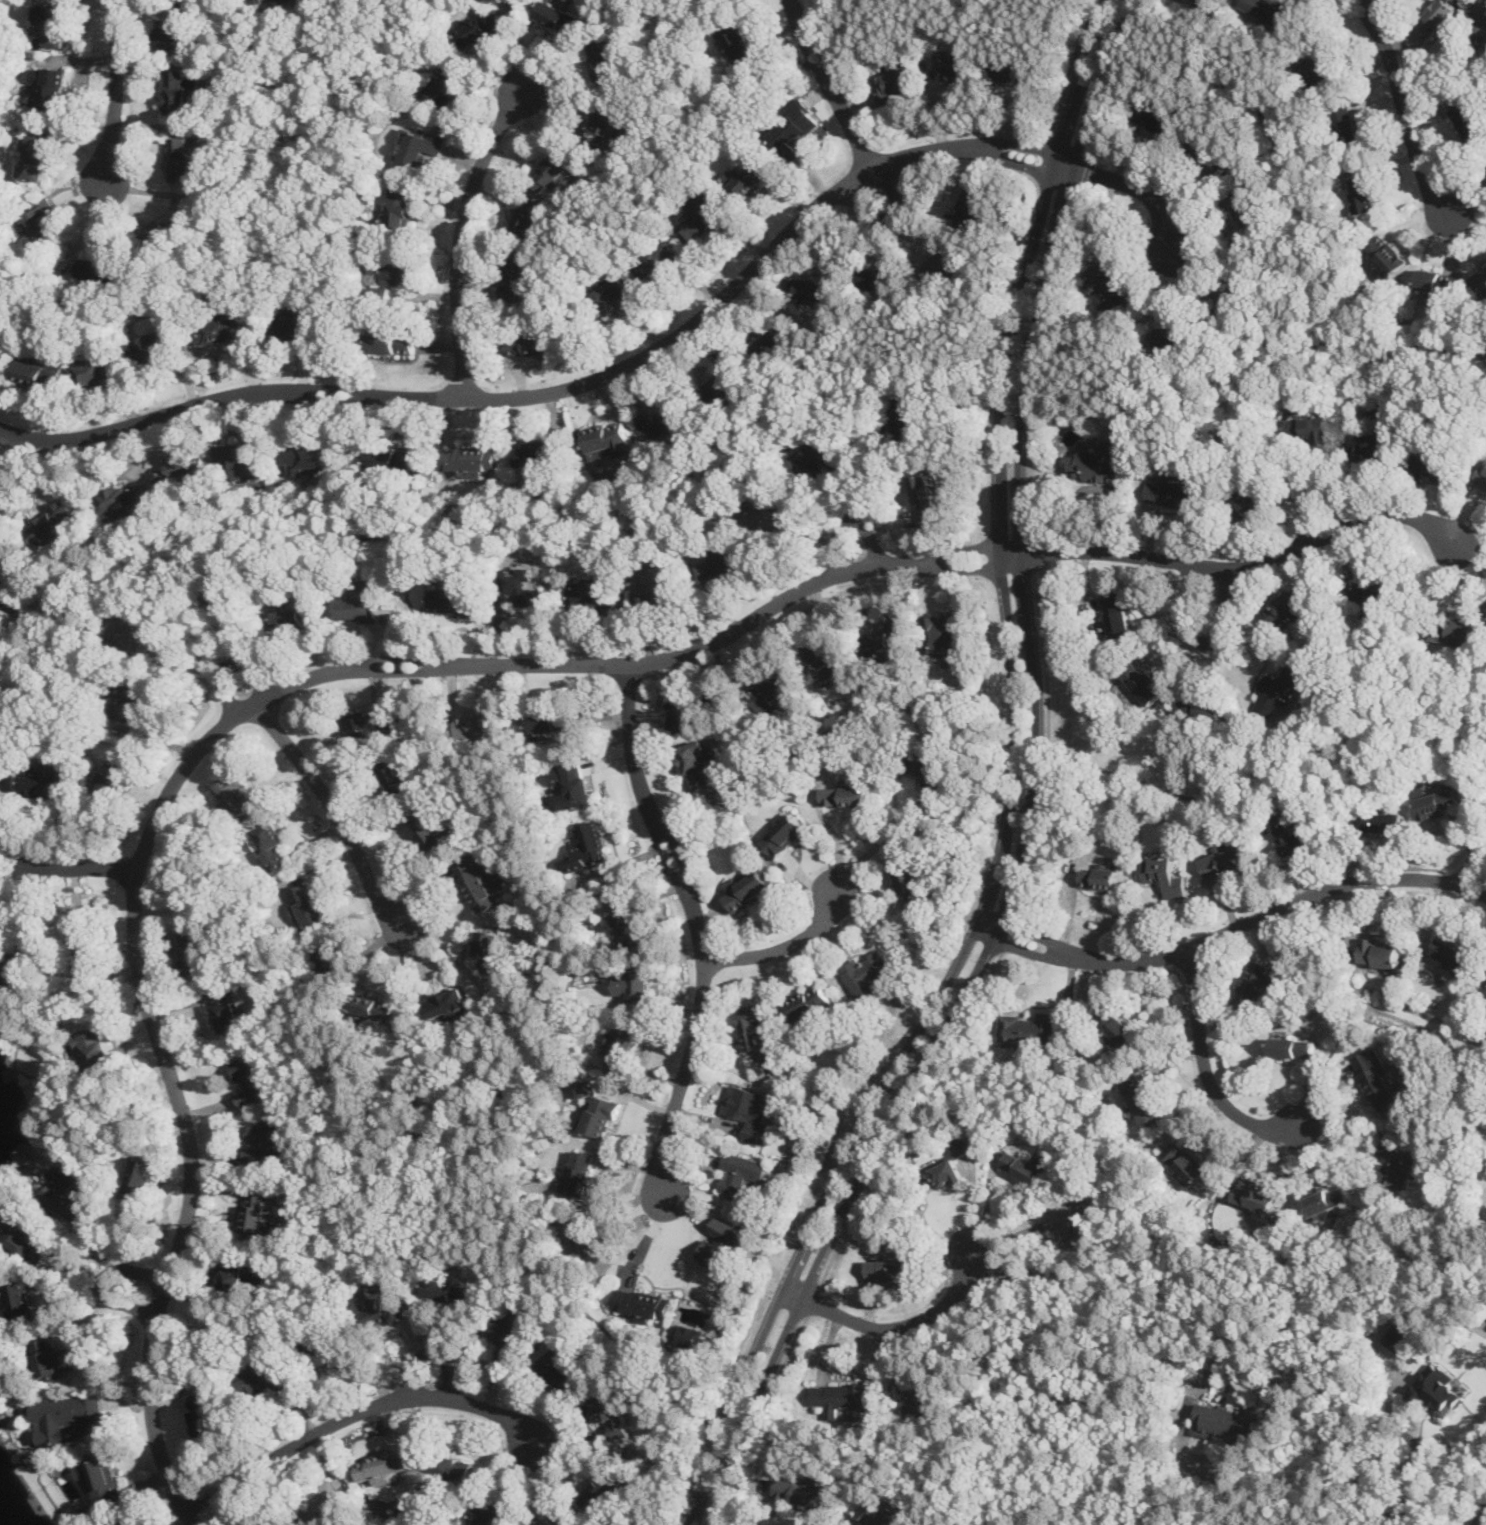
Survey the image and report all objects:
building: (278, 0)
building: (830, 1)
building: (1210, 2)
road: (959, 4)
building: (1267, 9)
building: (557, 15)
building: (1436, 18)
building: (1479, 22)
building: (51, 23)
building: (479, 25)
road: (371, 28)
building: (174, 33)
building: (738, 41)
road: (303, 49)
road: (1289, 49)
building: (605, 58)
building: (1317, 66)
building: (952, 73)
building: (1011, 73)
road: (1116, 78)
road: (338, 80)
building: (51, 84)
building: (446, 84)
road: (832, 85)
road: (757, 86)
building: (894, 86)
building: (179, 89)
road: (116, 92)
road: (1402, 106)
road: (709, 108)
building: (1153, 116)
building: (1466, 119)
building: (616, 123)
building: (1345, 123)
building: (792, 126)
road: (1280, 144)
building: (417, 145)
building: (34, 155)
building: (180, 159)
building: (1212, 160)
building: (555, 170)
road: (1086, 170)
building: (747, 176)
road: (642, 191)
building: (1362, 193)
building: (1245, 206)
building: (402, 207)
building: (971, 207)
building: (698, 215)
building: (525, 216)
building: (43, 219)
building: (169, 229)
road: (462, 234)
building: (1387, 254)
building: (657, 259)
building: (942, 263)
building: (101, 268)
building: (392, 268)
road: (206, 270)
building: (880, 277)
building: (519, 278)
building: (1481, 279)
building: (1434, 281)
road: (17, 283)
building: (1109, 286)
building: (819, 288)
building: (1226, 291)
building: (615, 294)
building: (292, 322)
building: (221, 328)
building: (776, 336)
building: (1172, 338)
building: (392, 342)
building: (531, 343)
building: (156, 351)
road: (641, 357)
road: (1041, 359)
road: (1246, 362)
building: (101, 369)
building: (37, 372)
building: (726, 374)
building: (905, 414)
building: (663, 420)
building: (1309, 428)
building: (607, 439)
building: (1371, 444)
building: (1120, 445)
building: (534, 453)
building: (816, 457)
building: (308, 458)
building: (467, 458)
building: (244, 459)
building: (392, 459)
building: (1433, 463)
building: (1093, 466)
building: (180, 468)
road: (11, 472)
road: (876, 476)
building: (1481, 477)
road: (1097, 487)
road: (1312, 491)
building: (1172, 492)
building: (925, 494)
building: (124, 499)
building: (1250, 503)
building: (769, 515)
building: (56, 523)
road: (848, 523)
road: (1035, 553)
building: (721, 564)
road: (1243, 566)
building: (658, 584)
building: (521, 587)
building: (10, 588)
building: (1372, 594)
building: (223, 597)
building: (593, 597)
building: (453, 600)
building: (361, 606)
building: (1285, 608)
building: (1117, 615)
building: (299, 616)
building: (139, 628)
building: (1453, 631)
building: (944, 633)
building: (888, 638)
road: (1203, 644)
building: (828, 663)
building: (1143, 683)
building: (774, 692)
building: (1271, 693)
building: (132, 701)
road: (416, 705)
building: (1194, 706)
building: (685, 714)
building: (553, 721)
building: (368, 722)
building: (480, 724)
road: (831, 730)
road: (215, 735)
road: (1049, 741)
building: (0, 761)
building: (699, 762)
building: (929, 768)
road: (1221, 771)
building: (395, 774)
building: (116, 775)
building: (49, 783)
building: (574, 783)
road: (1022, 791)
building: (847, 792)
building: (235, 795)
road: (324, 795)
building: (1438, 801)
building: (1384, 820)
building: (430, 831)
building: (785, 833)
building: (1292, 837)
road: (879, 841)
building: (270, 843)
building: (588, 847)
building: (1224, 859)
road: (1470, 861)
road: (68, 868)
building: (1164, 874)
building: (1101, 875)
building: (480, 882)
building: (746, 886)
building: (909, 886)
building: (307, 903)
road: (1237, 926)
building: (626, 927)
road: (697, 927)
road: (1008, 932)
building: (85, 945)
road: (783, 945)
building: (194, 950)
building: (490, 952)
building: (1381, 952)
building: (1453, 956)
building: (328, 961)
building: (18, 971)
building: (866, 975)
building: (1256, 982)
building: (633, 985)
building: (1485, 991)
building: (808, 1000)
building: (447, 1005)
building: (227, 1007)
building: (373, 1007)
road: (289, 1016)
building: (752, 1024)
building: (1027, 1029)
building: (1116, 1029)
road: (1455, 1044)
building: (1292, 1046)
building: (95, 1047)
building: (623, 1050)
road: (1204, 1068)
road: (486, 1070)
building: (251, 1077)
building: (1376, 1078)
road: (392, 1079)
building: (586, 1087)
building: (1138, 1096)
building: (751, 1109)
building: (601, 1114)
road: (908, 1119)
building: (266, 1141)
building: (1185, 1162)
building: (1396, 1163)
building: (949, 1164)
building: (1025, 1165)
building: (580, 1172)
building: (740, 1174)
building: (142, 1178)
building: (74, 1192)
building: (1255, 1196)
building: (1327, 1198)
road: (970, 1202)
building: (258, 1210)
building: (1067, 1224)
building: (24, 1233)
building: (587, 1234)
road: (505, 1240)
road: (646, 1240)
building: (725, 1242)
building: (893, 1269)
road: (1106, 1270)
building: (243, 1274)
road: (141, 1288)
building: (451, 1290)
building: (22, 1299)
building: (380, 1301)
road: (812, 1301)
building: (643, 1302)
road: (788, 1305)
road: (900, 1325)
building: (688, 1334)
building: (507, 1335)
building: (1402, 1337)
building: (321, 1342)
road: (432, 1349)
building: (55, 1359)
building: (558, 1366)
building: (265, 1377)
building: (1435, 1388)
building: (919, 1394)
building: (842, 1398)
road: (358, 1410)
building: (205, 1412)
building: (612, 1413)
building: (66, 1419)
road: (759, 1419)
building: (1225, 1421)
building: (384, 1463)
road: (1389, 1463)
building: (452, 1465)
building: (102, 1480)
building: (601, 1488)
building: (795, 1491)
road: (1234, 1497)
building: (326, 1502)
building: (495, 1513)
building: (875, 1513)
road: (1472, 1516)
building: (129, 1521)
building: (565, 1523)

